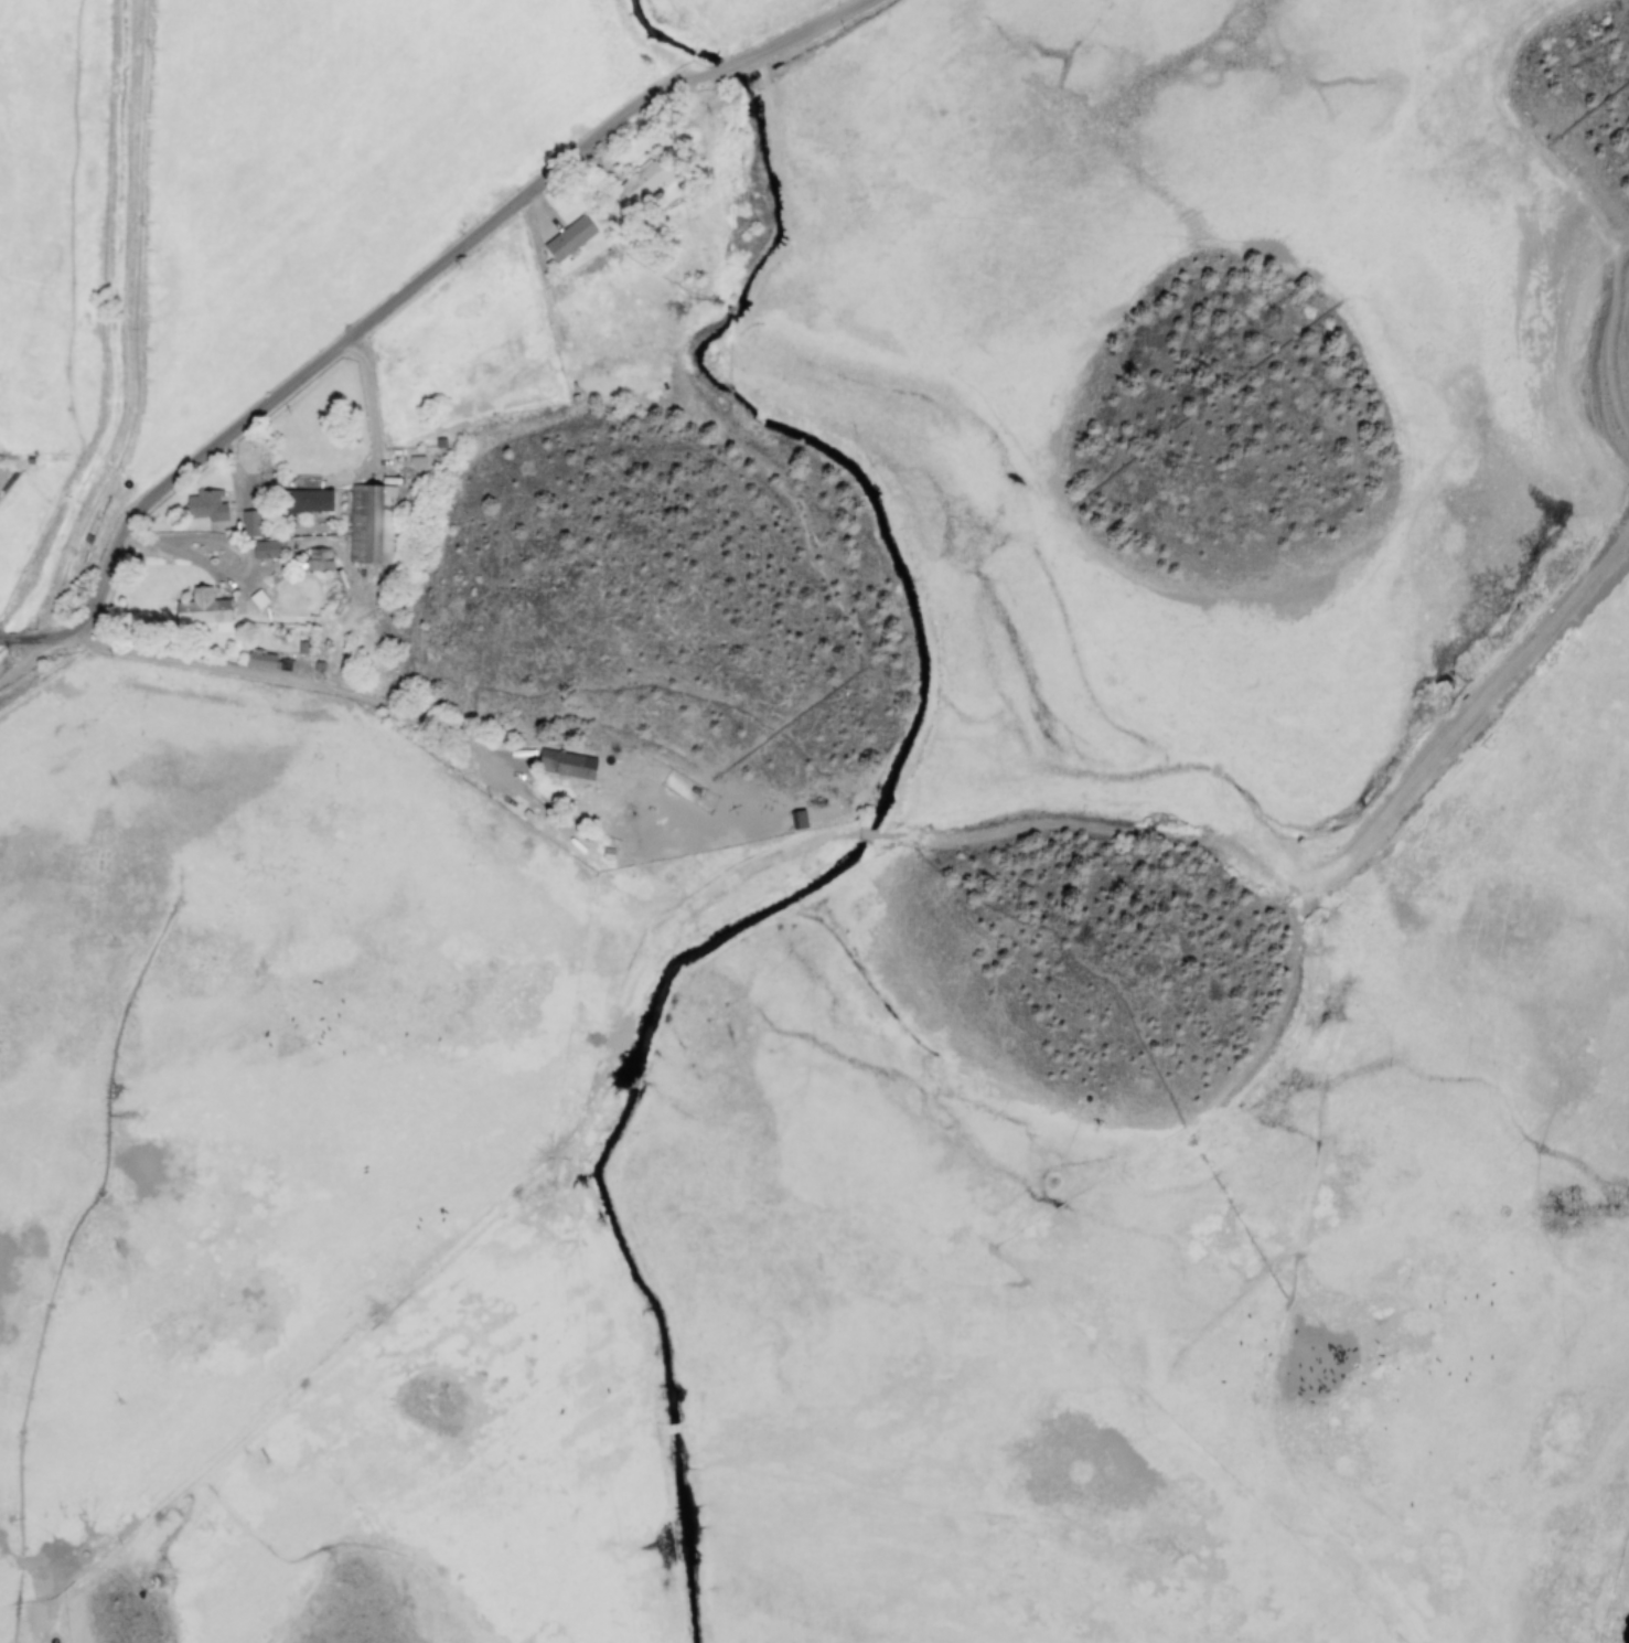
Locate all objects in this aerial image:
building: (639, 183)
building: (568, 238)
road: (398, 292)
building: (302, 502)
building: (205, 505)
building: (248, 523)
building: (371, 523)
building: (267, 547)
building: (318, 558)
building: (257, 598)
building: (203, 609)
road: (171, 742)
building: (568, 765)
building: (797, 819)
river: (1628, 1636)

